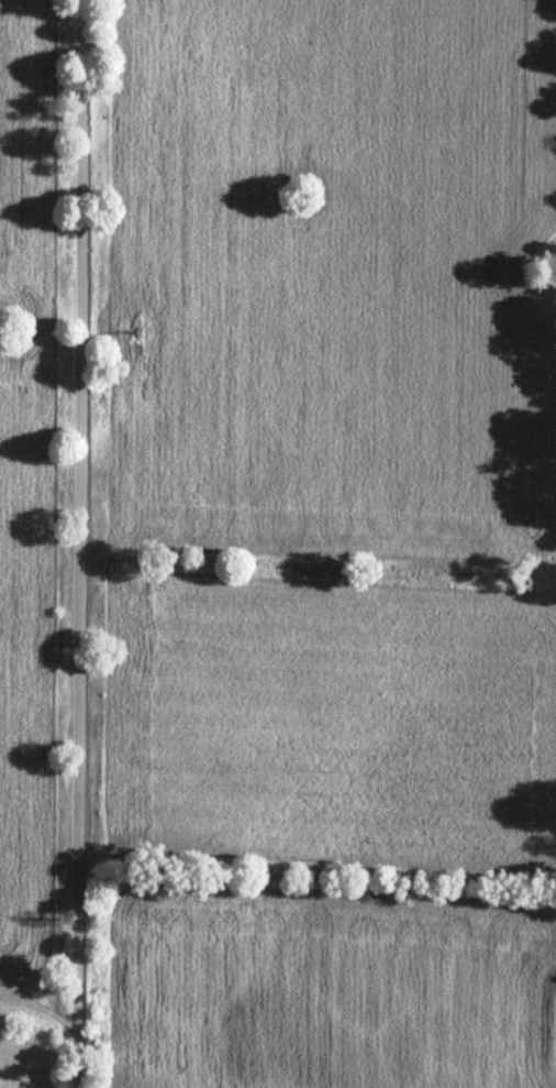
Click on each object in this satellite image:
road: (82, 543)

